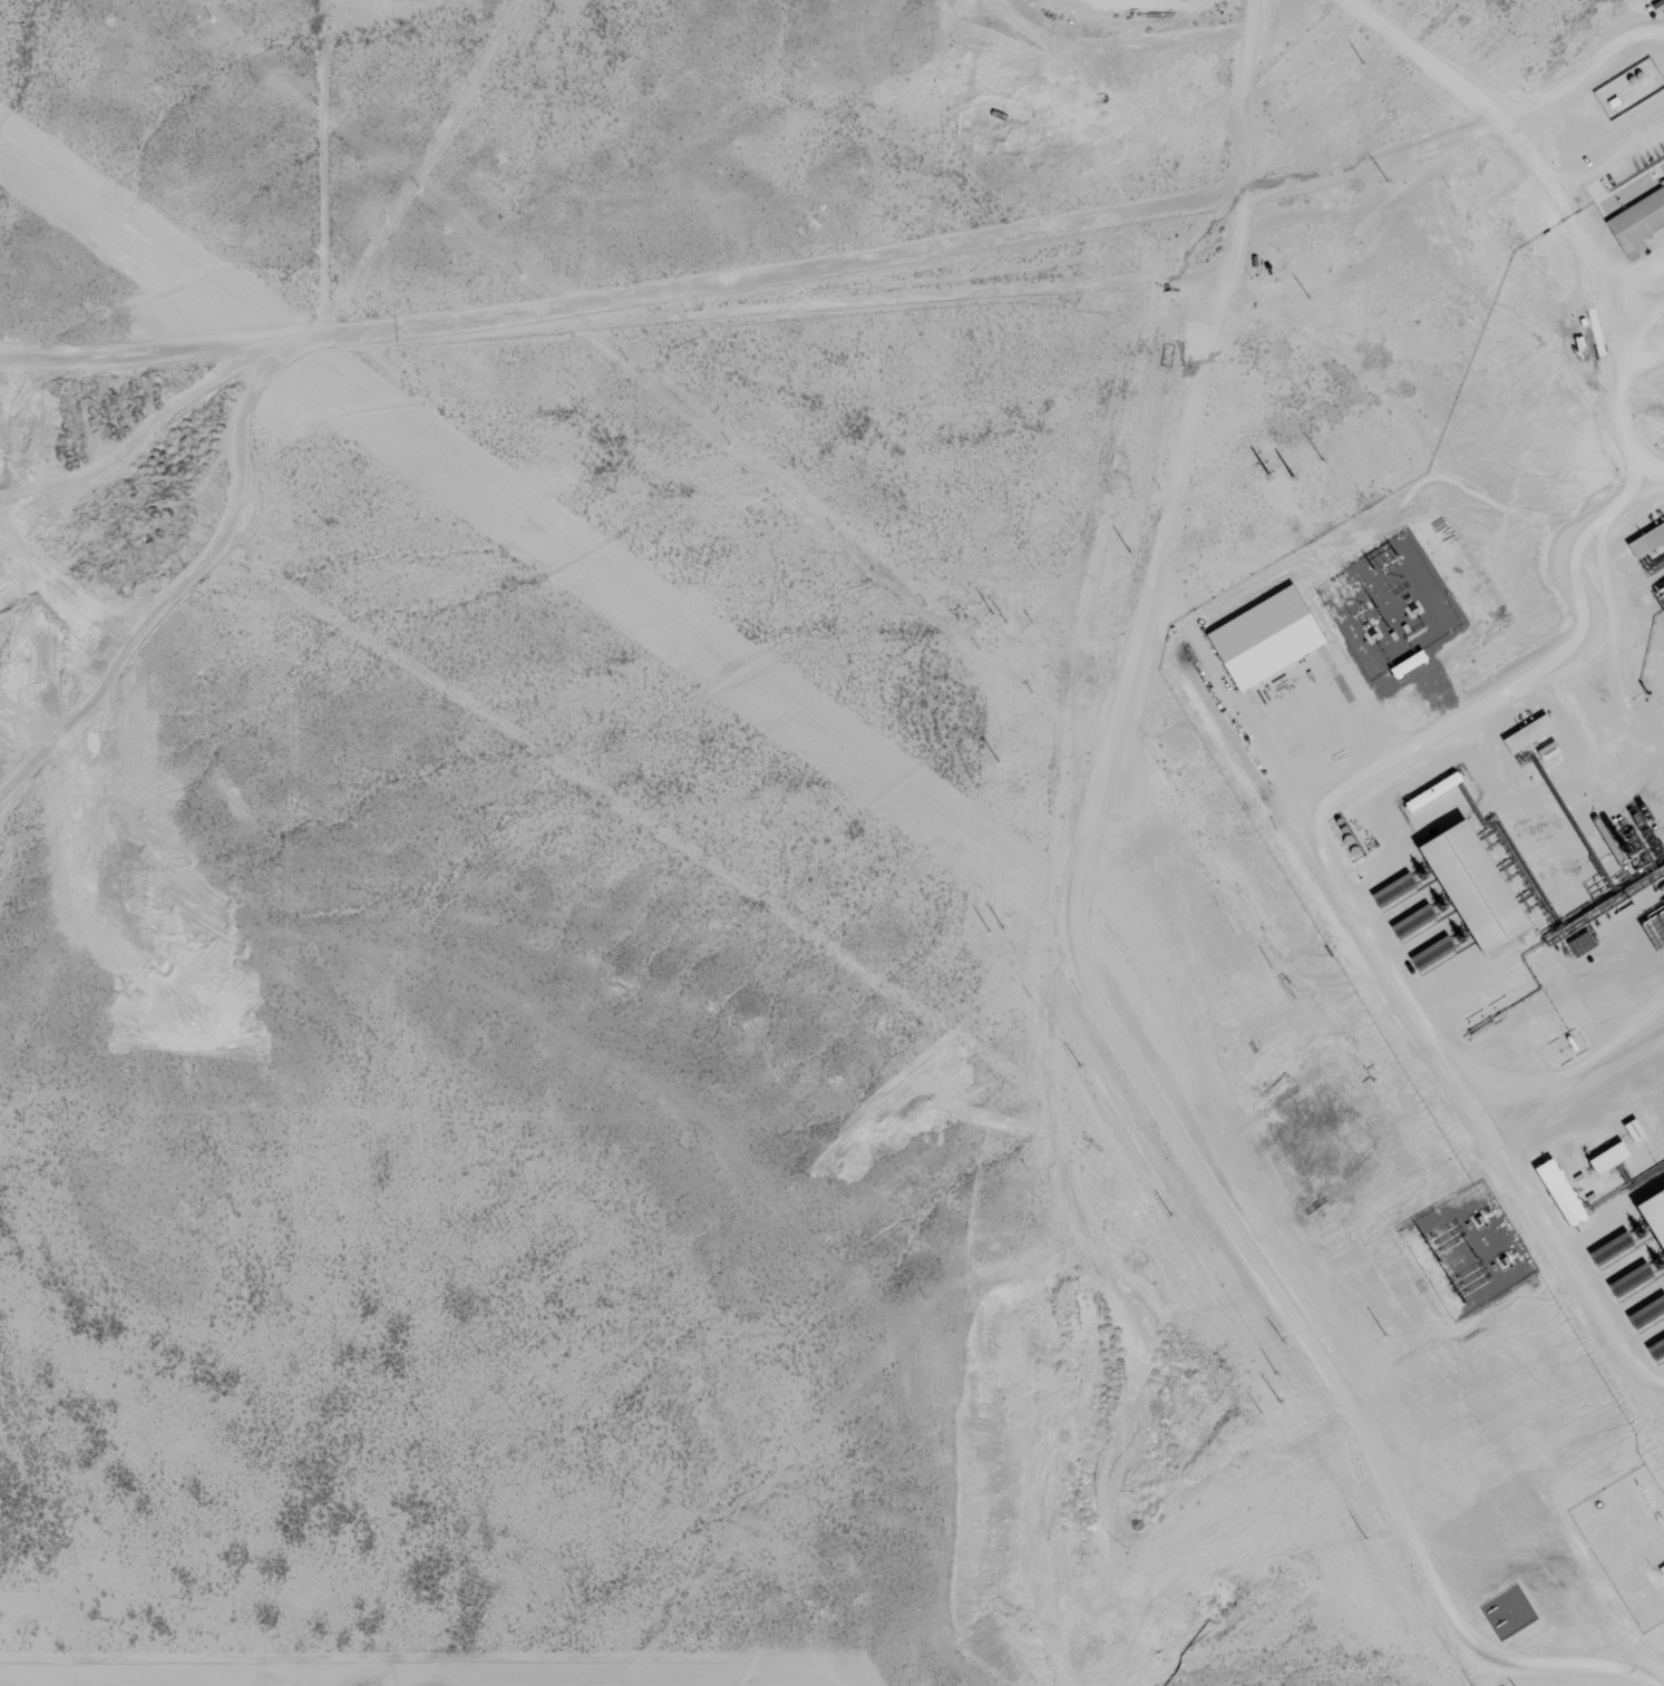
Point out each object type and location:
power tower: (1366, 67)
road: (1209, 139)
power tower: (1390, 182)
power tower: (1311, 299)
road: (603, 327)
power tower: (1324, 459)
power tower: (1274, 471)
building: (1647, 542)
power tower: (1120, 553)
power substation: (1391, 606)
power tower: (999, 616)
building: (1266, 639)
power tower: (998, 762)
building: (1472, 887)
power tower: (995, 929)
power tower: (1078, 1064)
building: (1560, 1191)
power tower: (1169, 1212)
power substation: (1469, 1249)
power tower: (1279, 1338)
power tower: (1376, 1339)
power tower: (1273, 1403)

